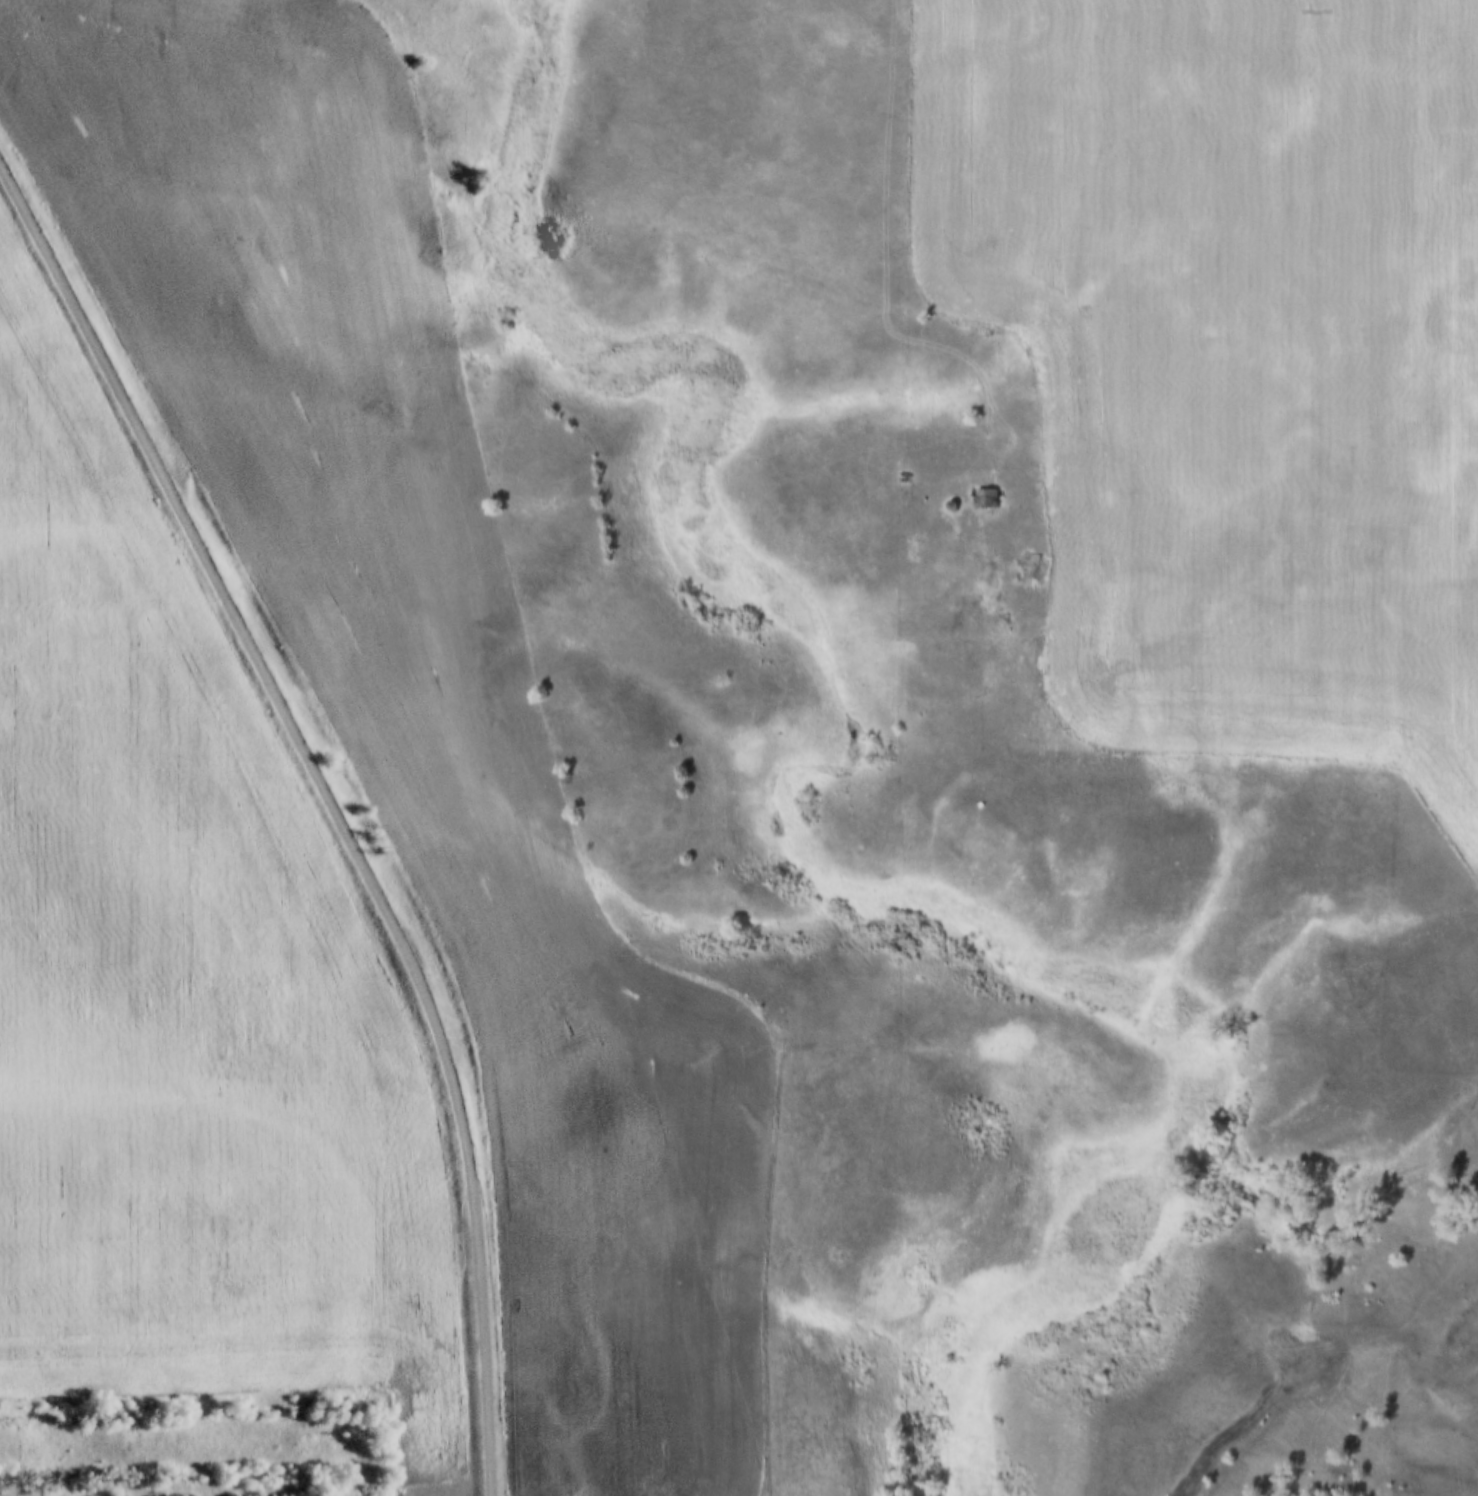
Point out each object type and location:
building: (988, 500)
building: (1027, 573)
road: (331, 807)

